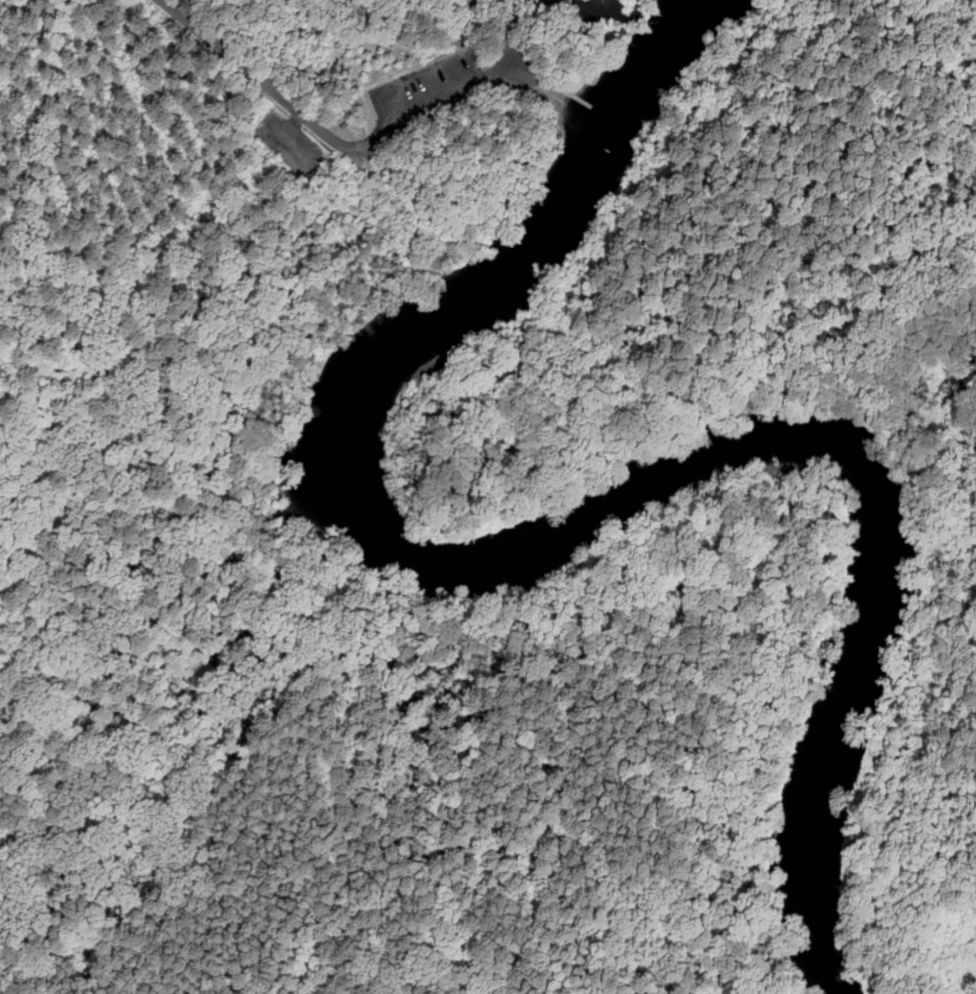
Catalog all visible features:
road: (525, 74)
pier: (568, 91)
parking lot: (431, 94)
road: (558, 95)
road: (327, 135)
river: (554, 536)

